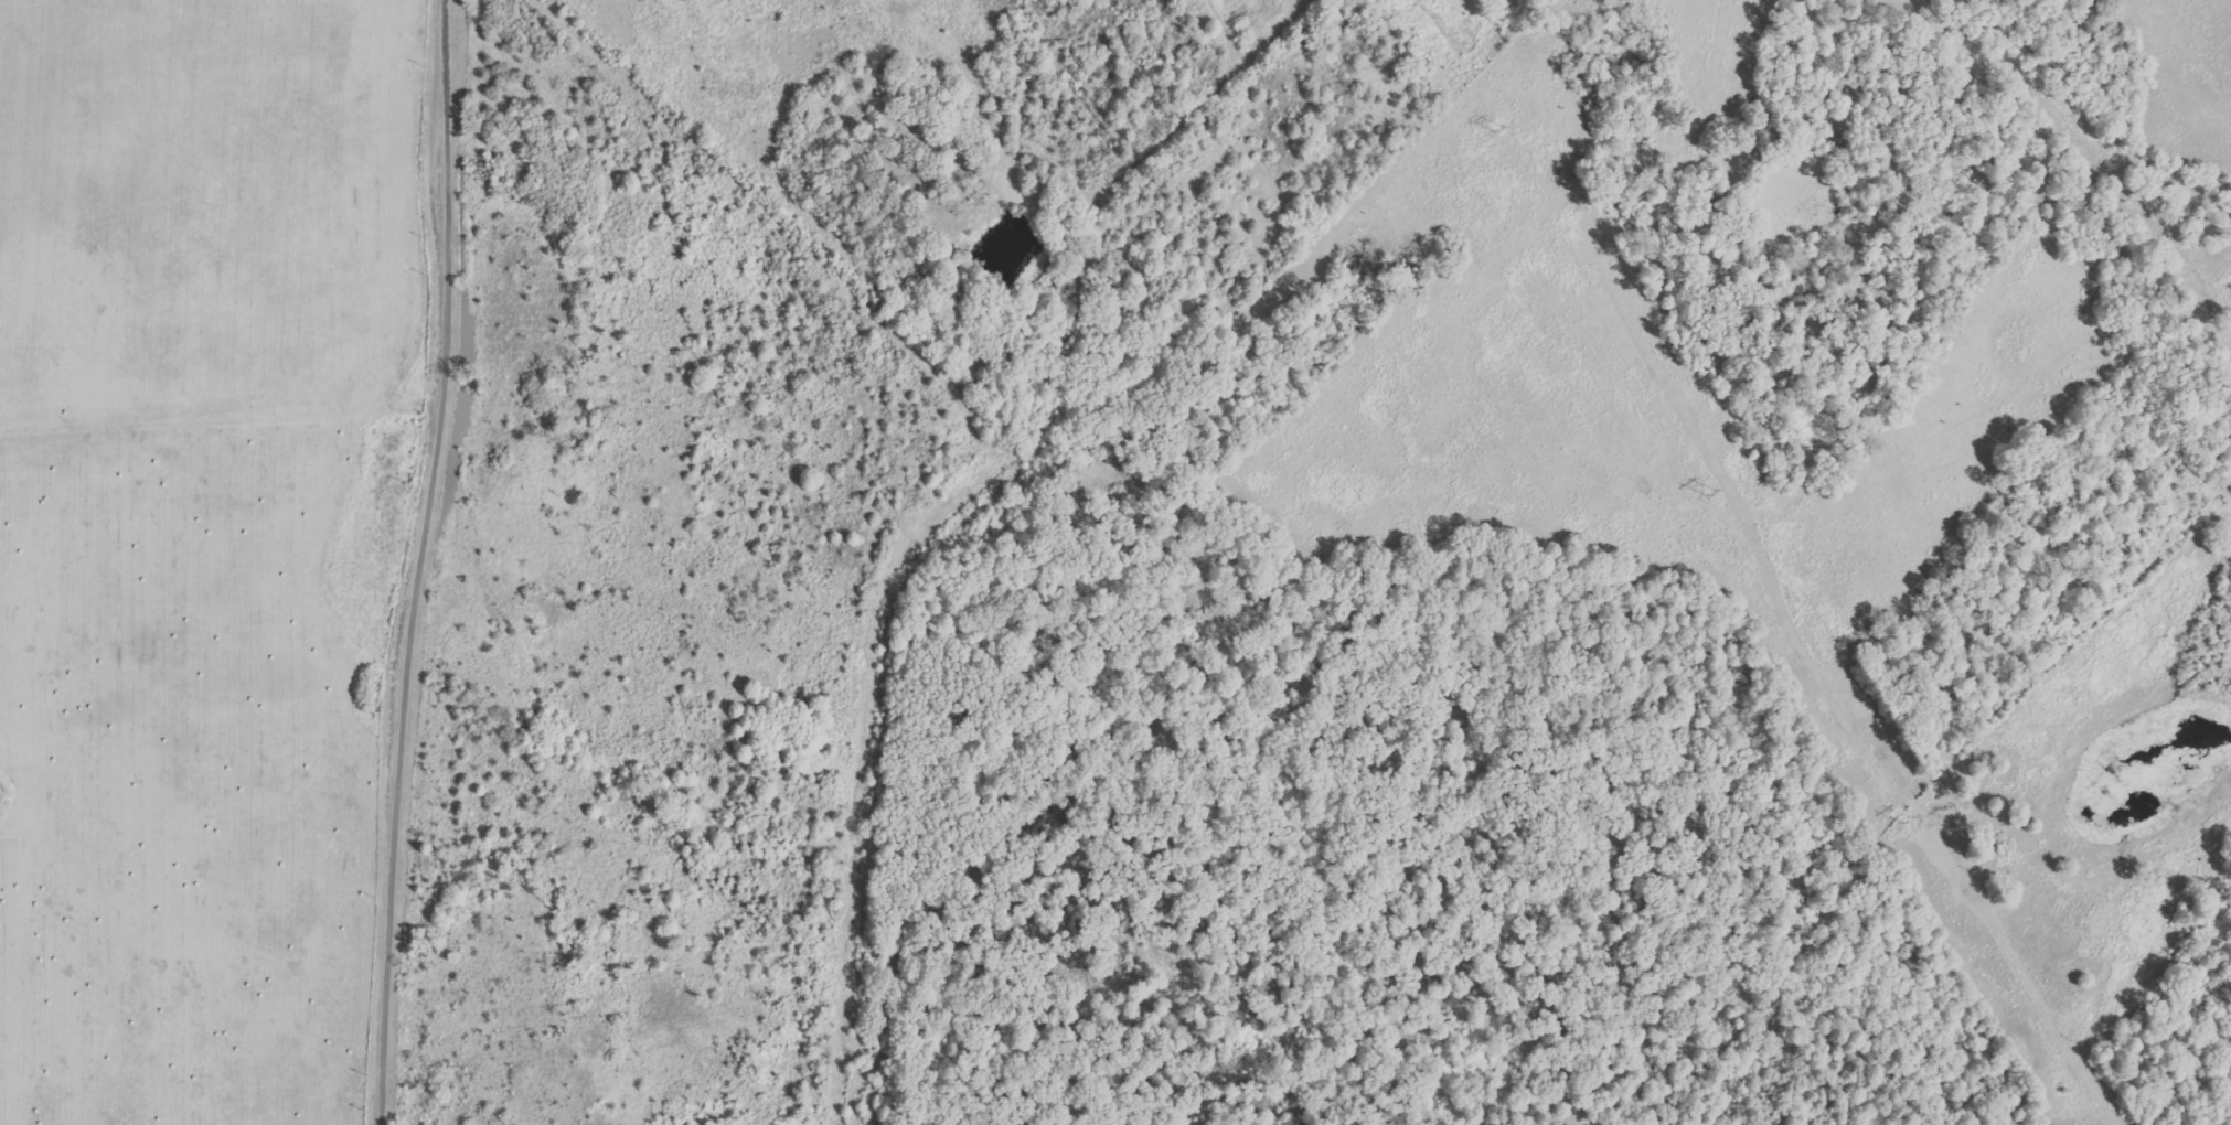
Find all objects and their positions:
road: (423, 561)

